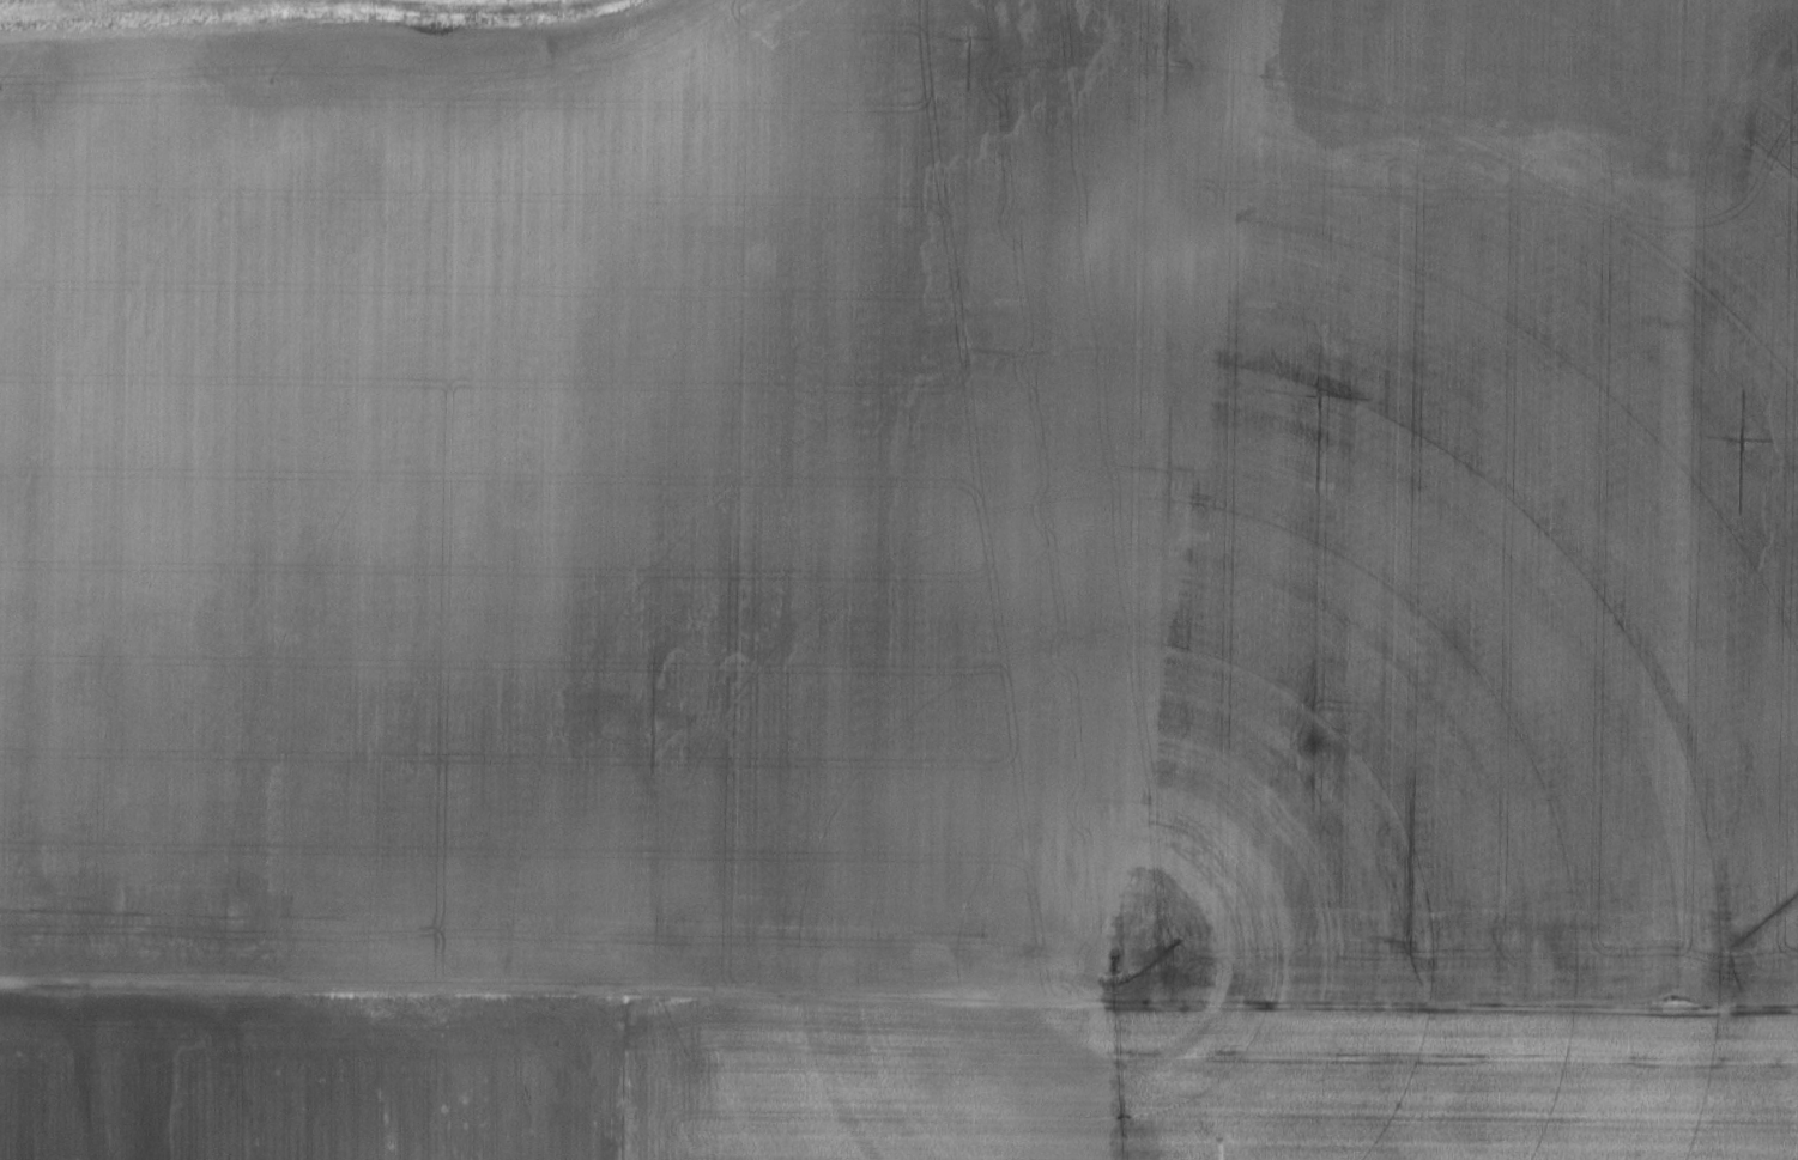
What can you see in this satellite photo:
road: (1664, 503)
road: (898, 998)

